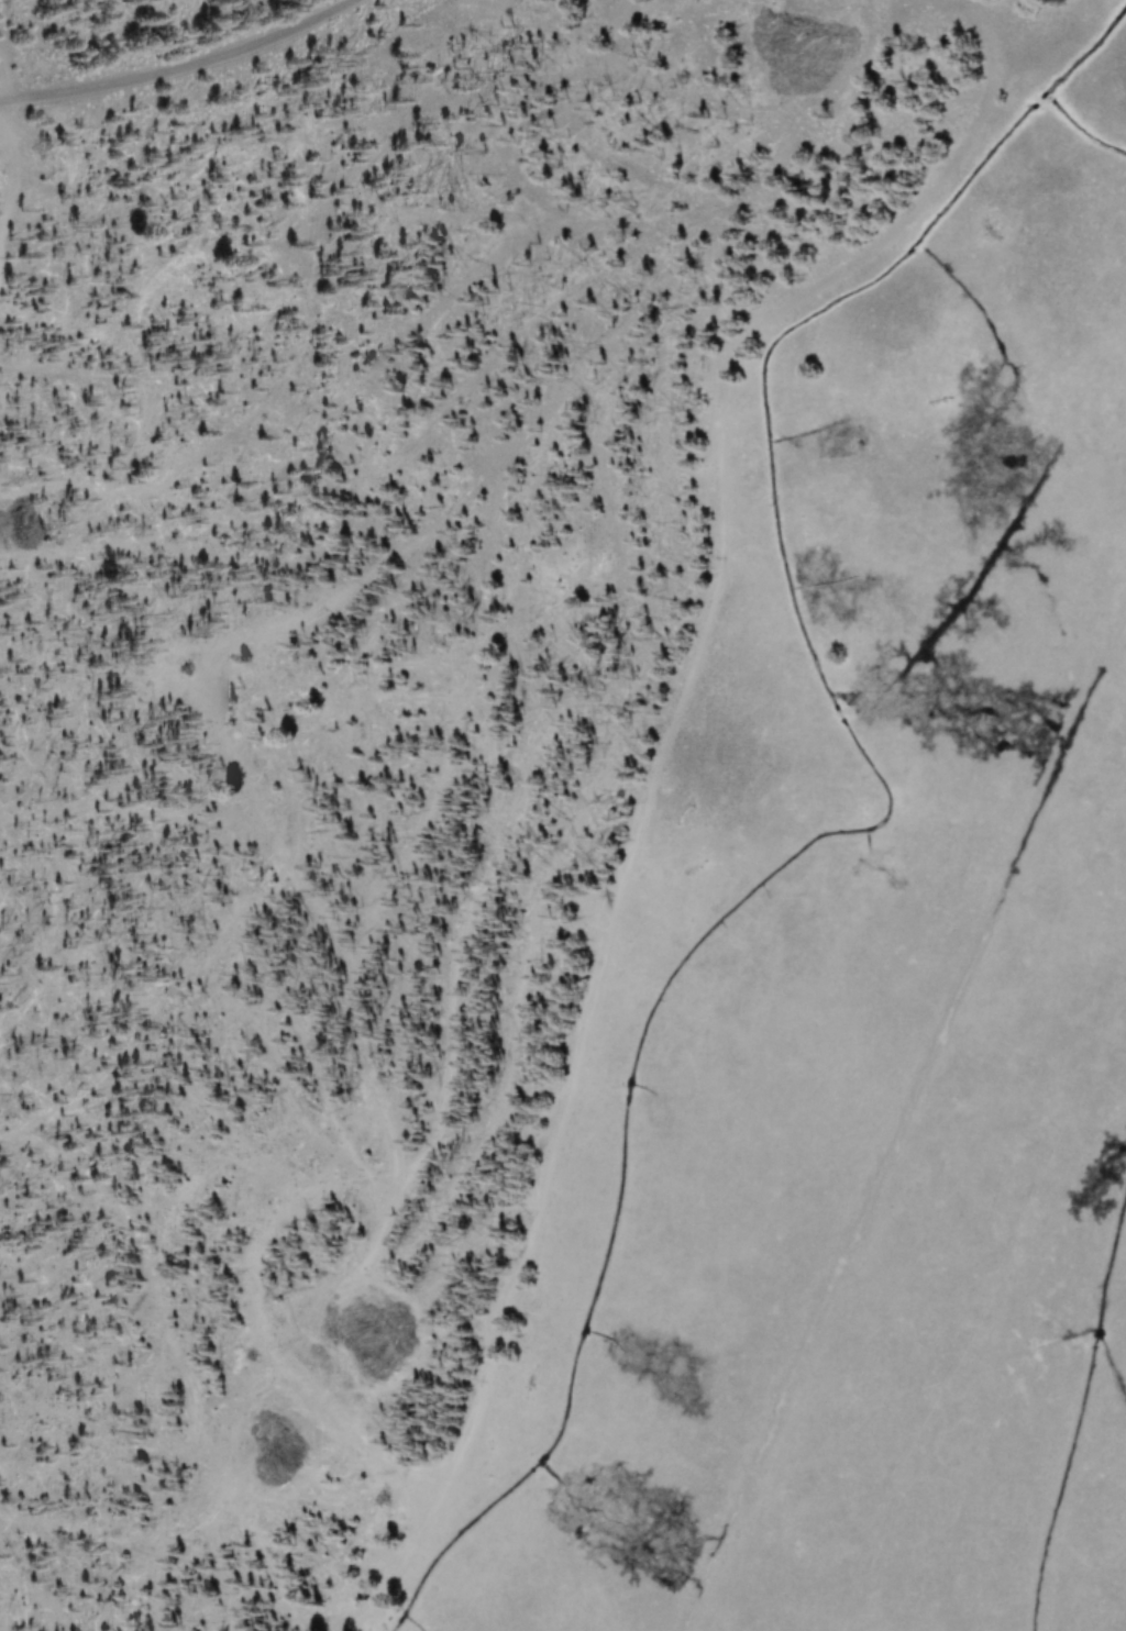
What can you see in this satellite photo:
road: (179, 65)

